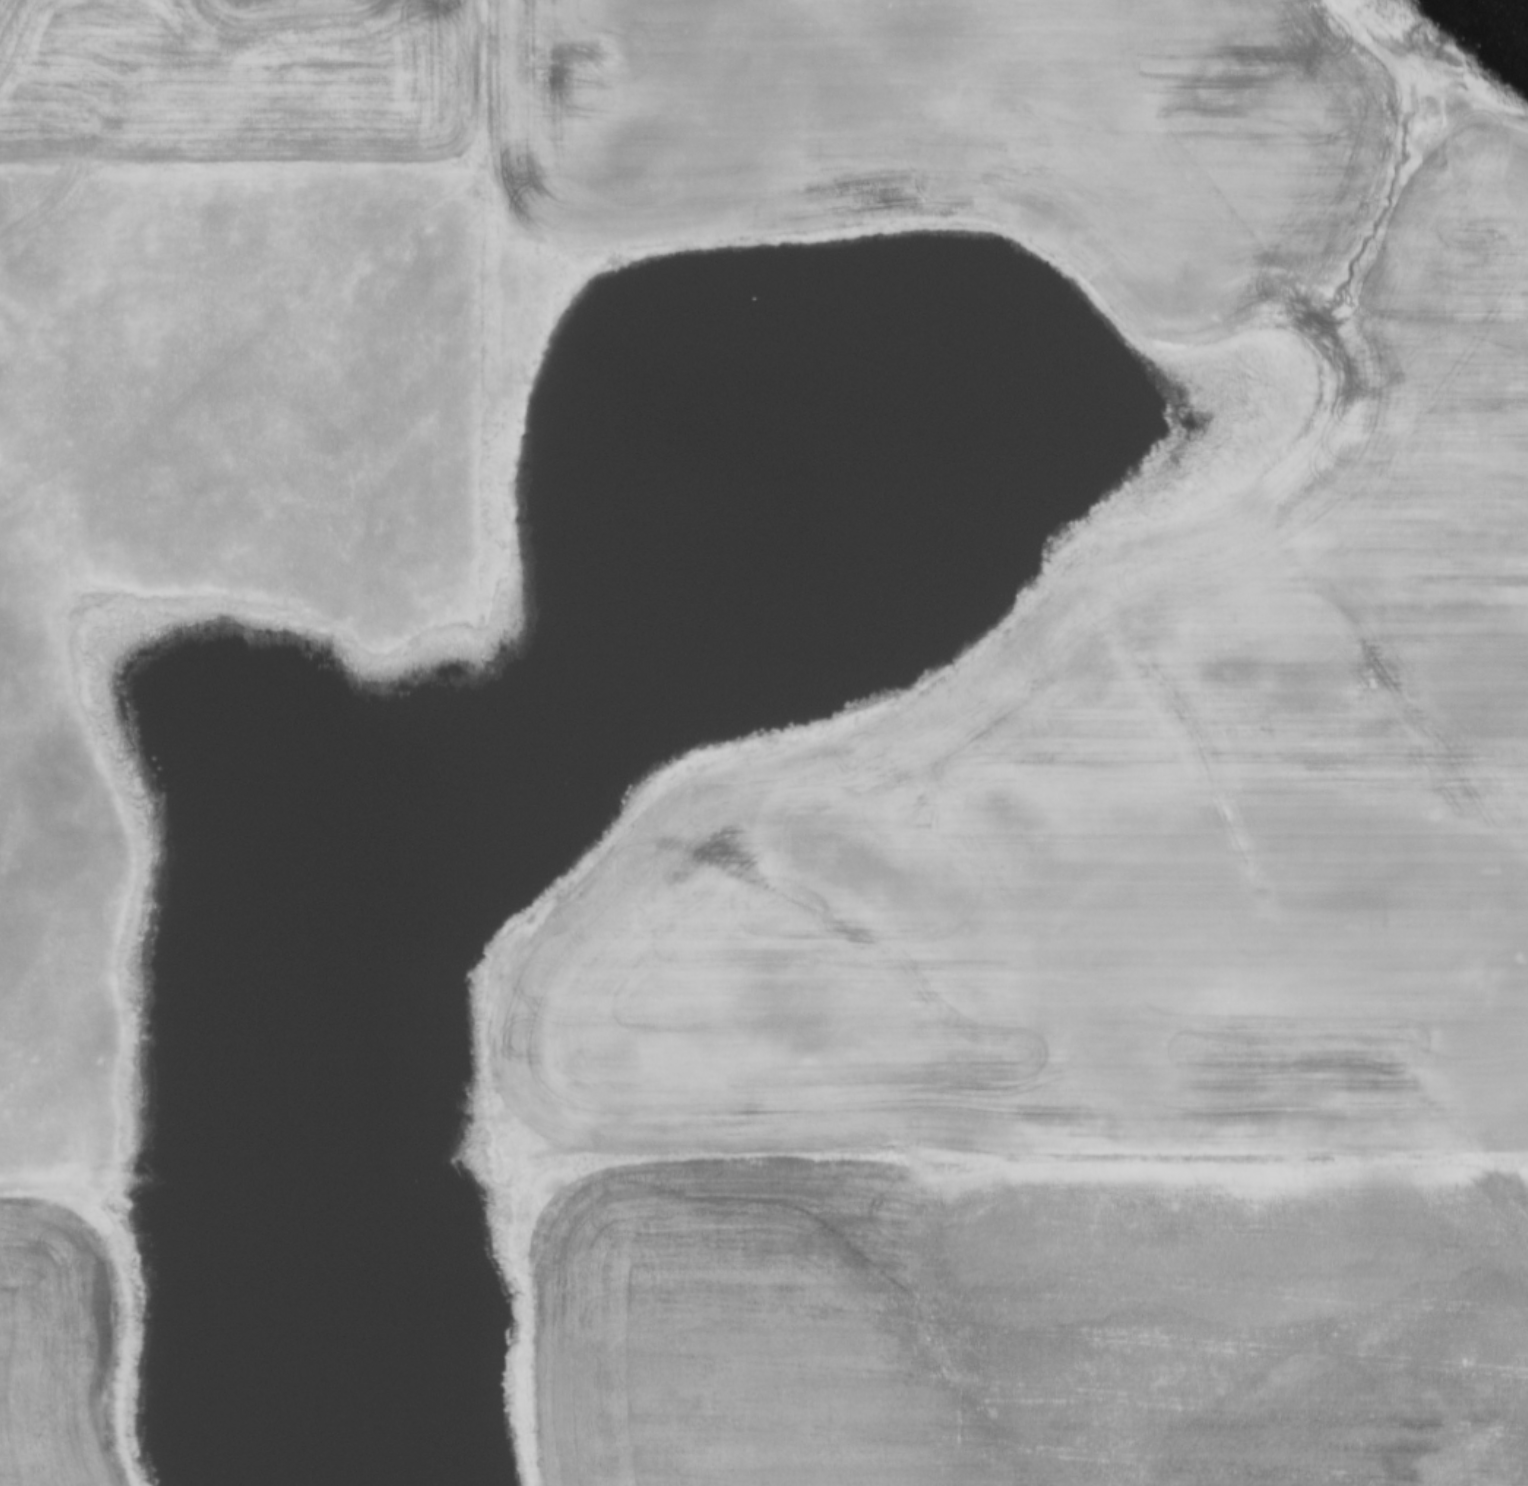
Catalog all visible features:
road: (232, 359)

